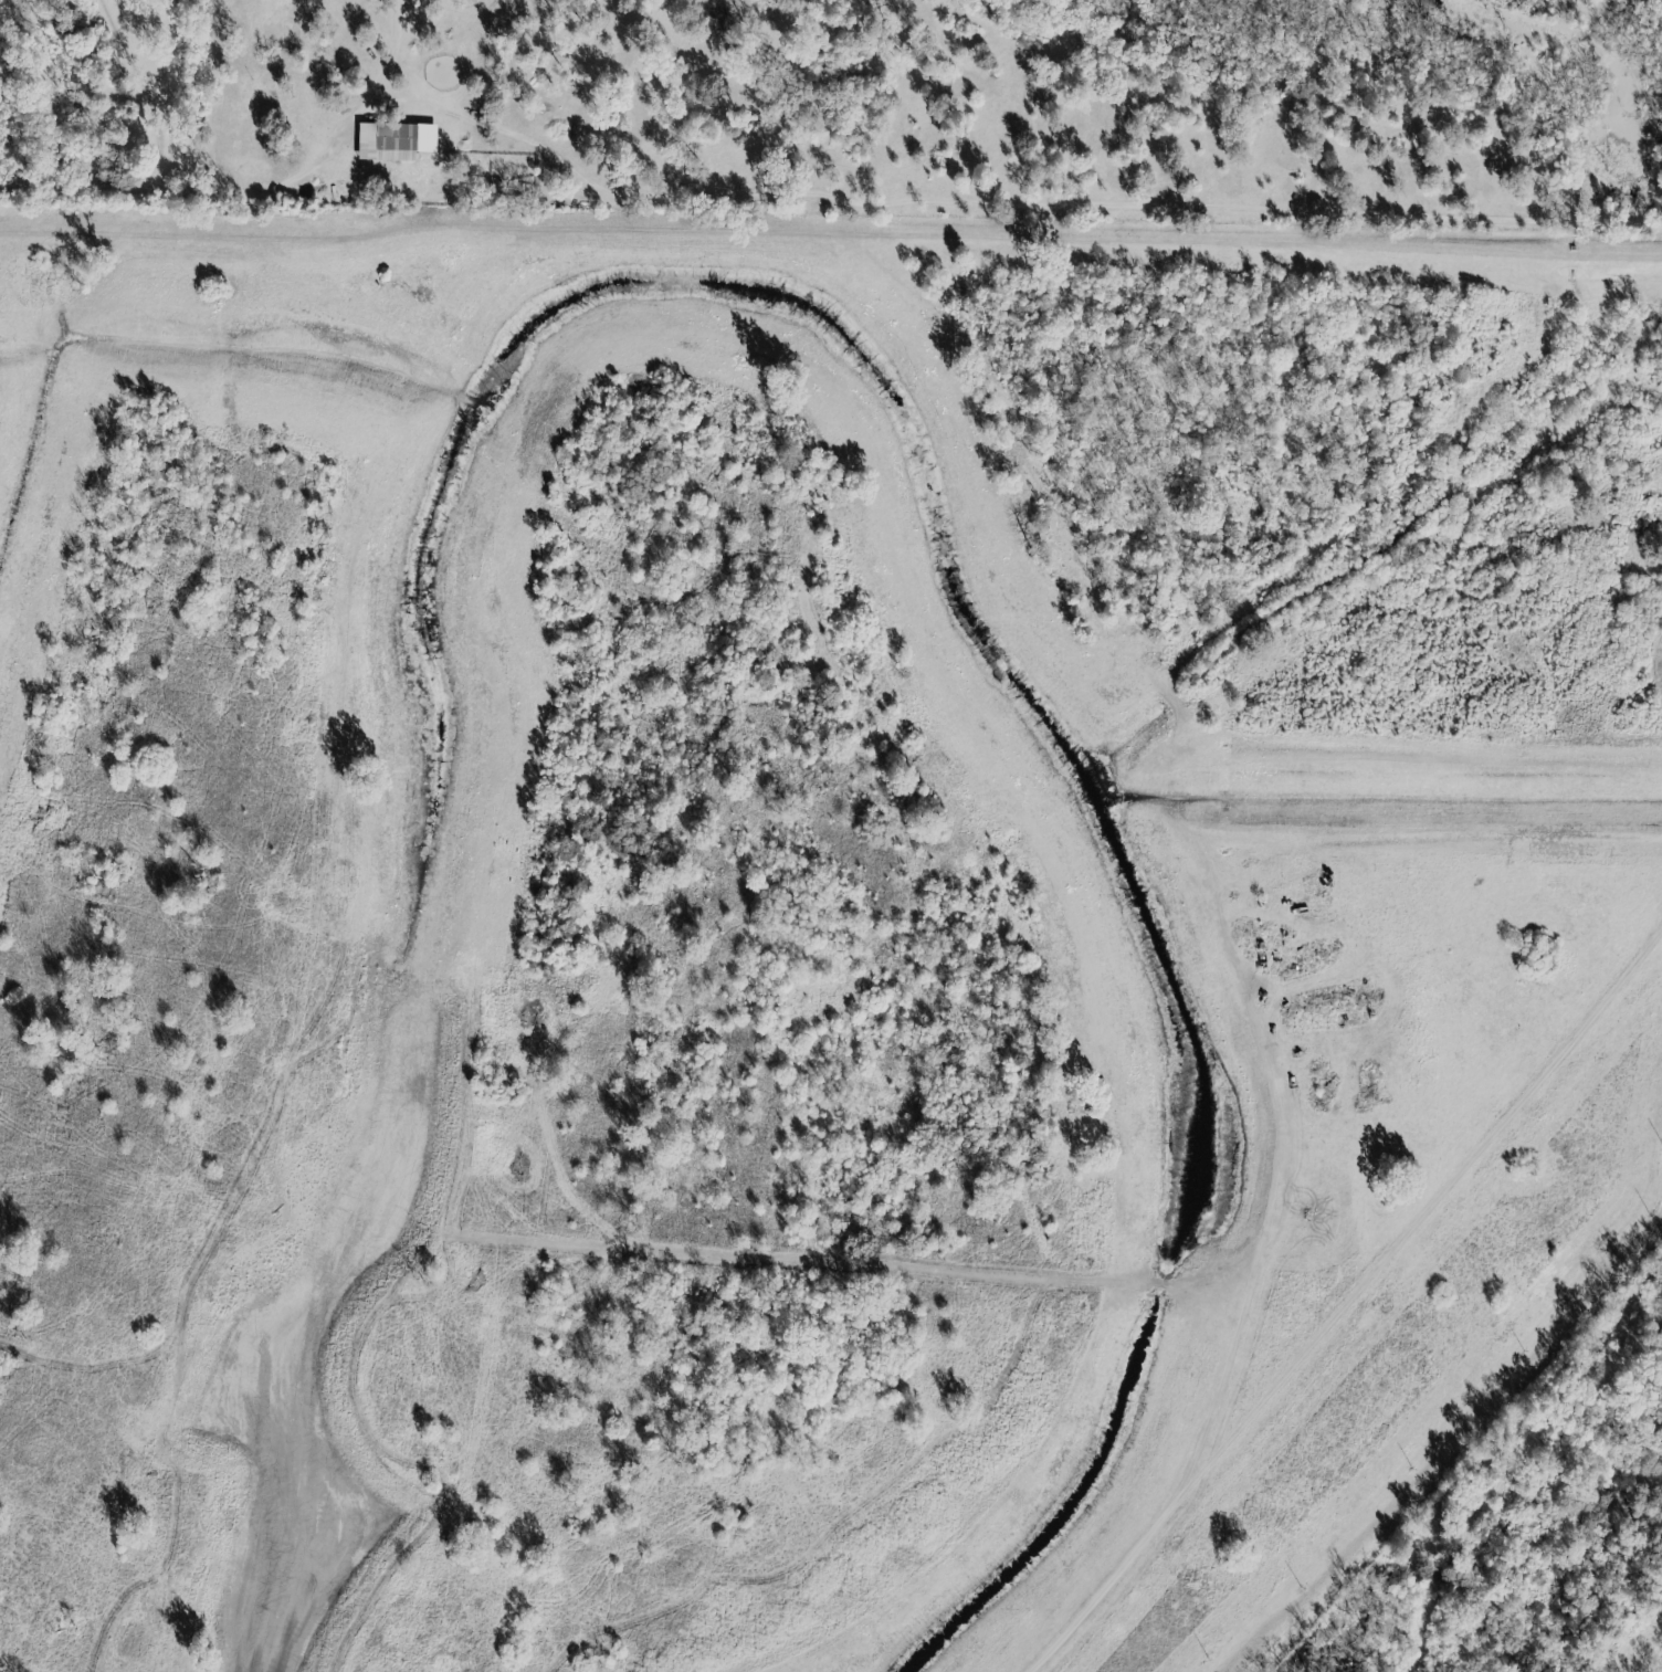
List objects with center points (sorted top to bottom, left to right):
road: (148, 105)
road: (349, 120)
building: (395, 141)
road: (1003, 201)
road: (351, 673)
road: (659, 1249)

